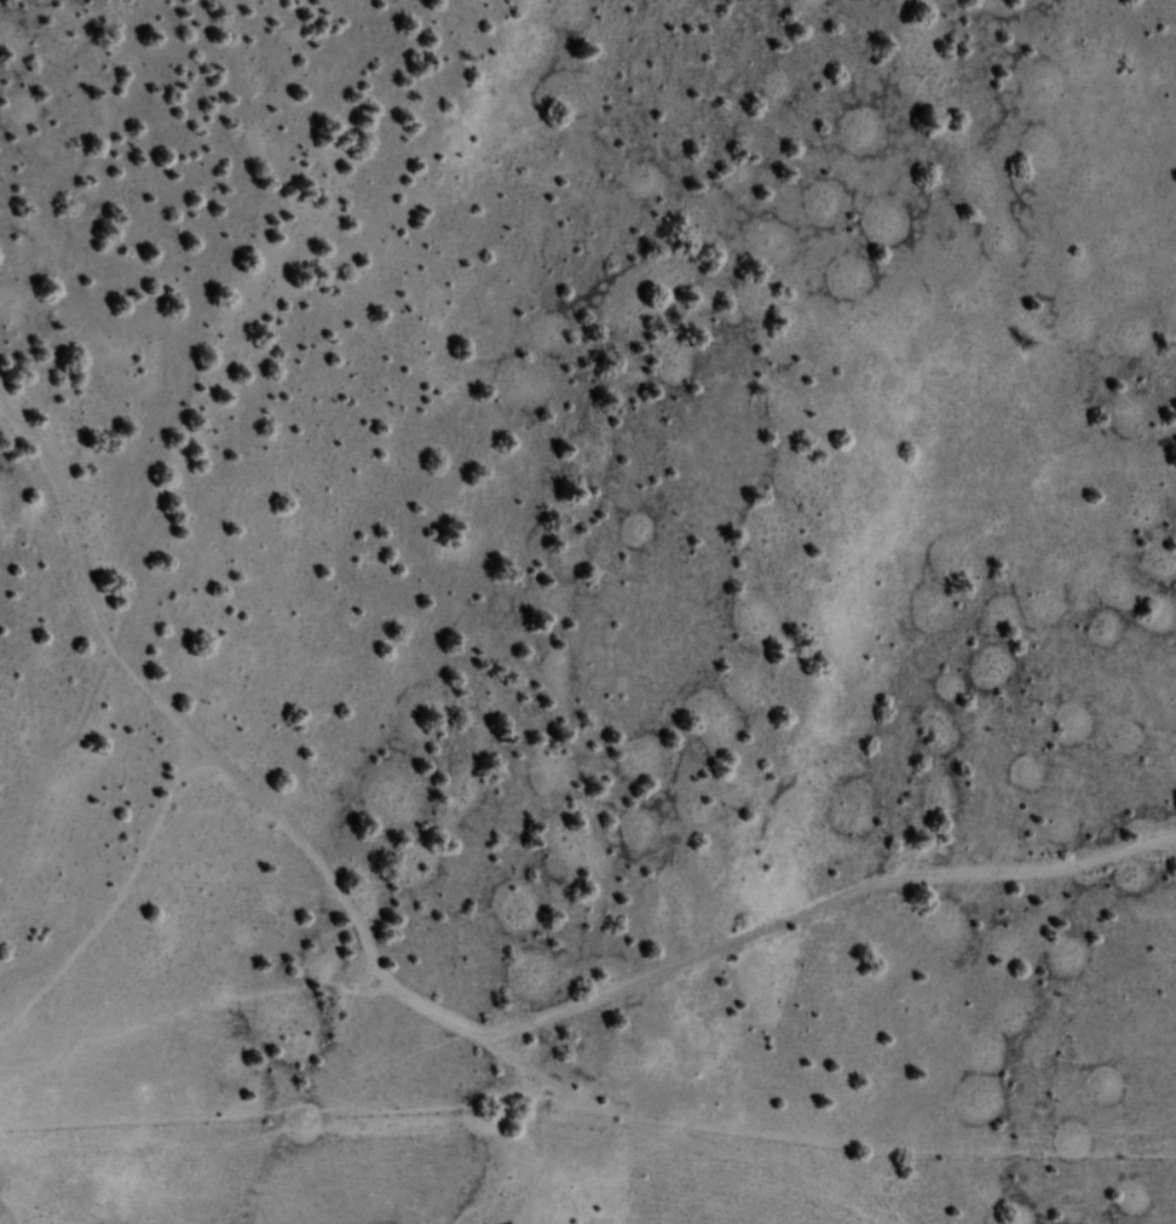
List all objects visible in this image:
road: (431, 1012)

